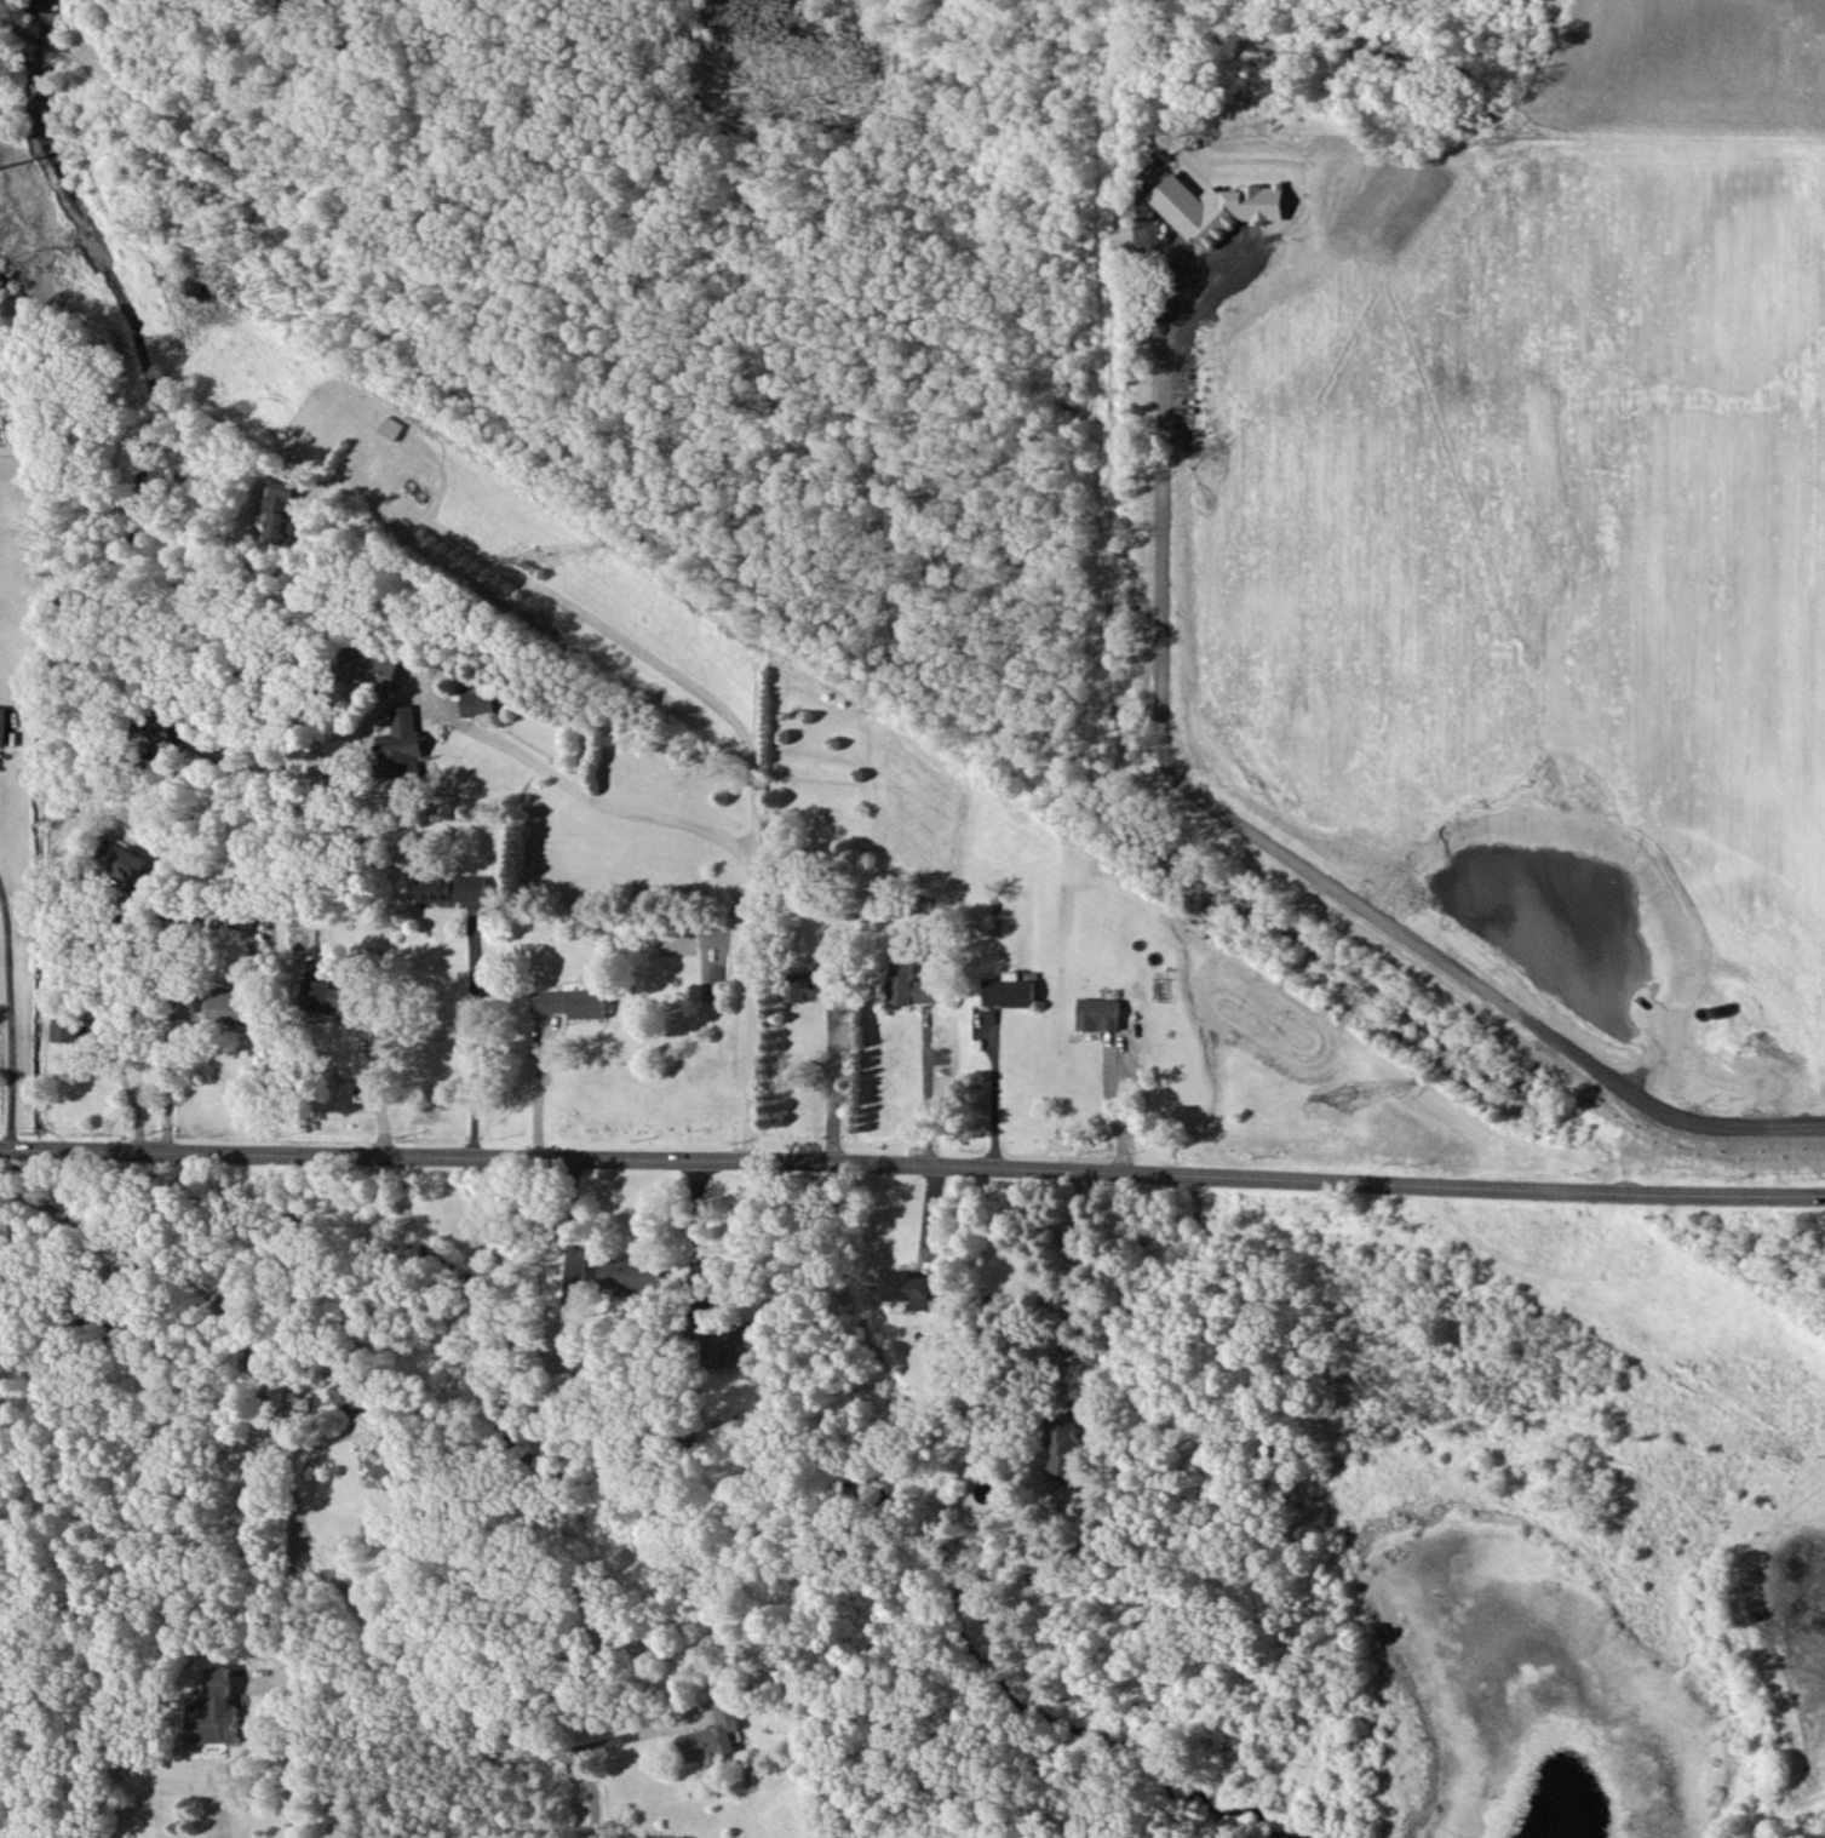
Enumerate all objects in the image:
building: (1218, 207)
building: (285, 510)
power tower: (550, 545)
building: (373, 668)
building: (478, 703)
road: (734, 717)
building: (4, 725)
building: (402, 745)
road: (580, 792)
road: (1266, 844)
building: (125, 865)
building: (453, 888)
building: (243, 917)
building: (911, 985)
building: (807, 986)
building: (1011, 991)
building: (328, 994)
building: (572, 1002)
building: (237, 1007)
road: (12, 1010)
building: (1100, 1014)
road: (476, 1031)
road: (161, 1040)
road: (1132, 1063)
road: (126, 1078)
road: (831, 1084)
power tower: (1338, 1086)
road: (378, 1088)
road: (926, 1089)
road: (994, 1089)
road: (912, 1163)
road: (568, 1218)
building: (593, 1272)
building: (632, 1272)
road: (1072, 1286)
building: (911, 1289)
road: (218, 1301)
building: (733, 1342)
building: (349, 1392)
building: (1068, 1447)
building: (381, 1459)
road: (297, 1685)
road: (442, 1700)
building: (214, 1711)
road: (620, 1733)
building: (712, 1734)

